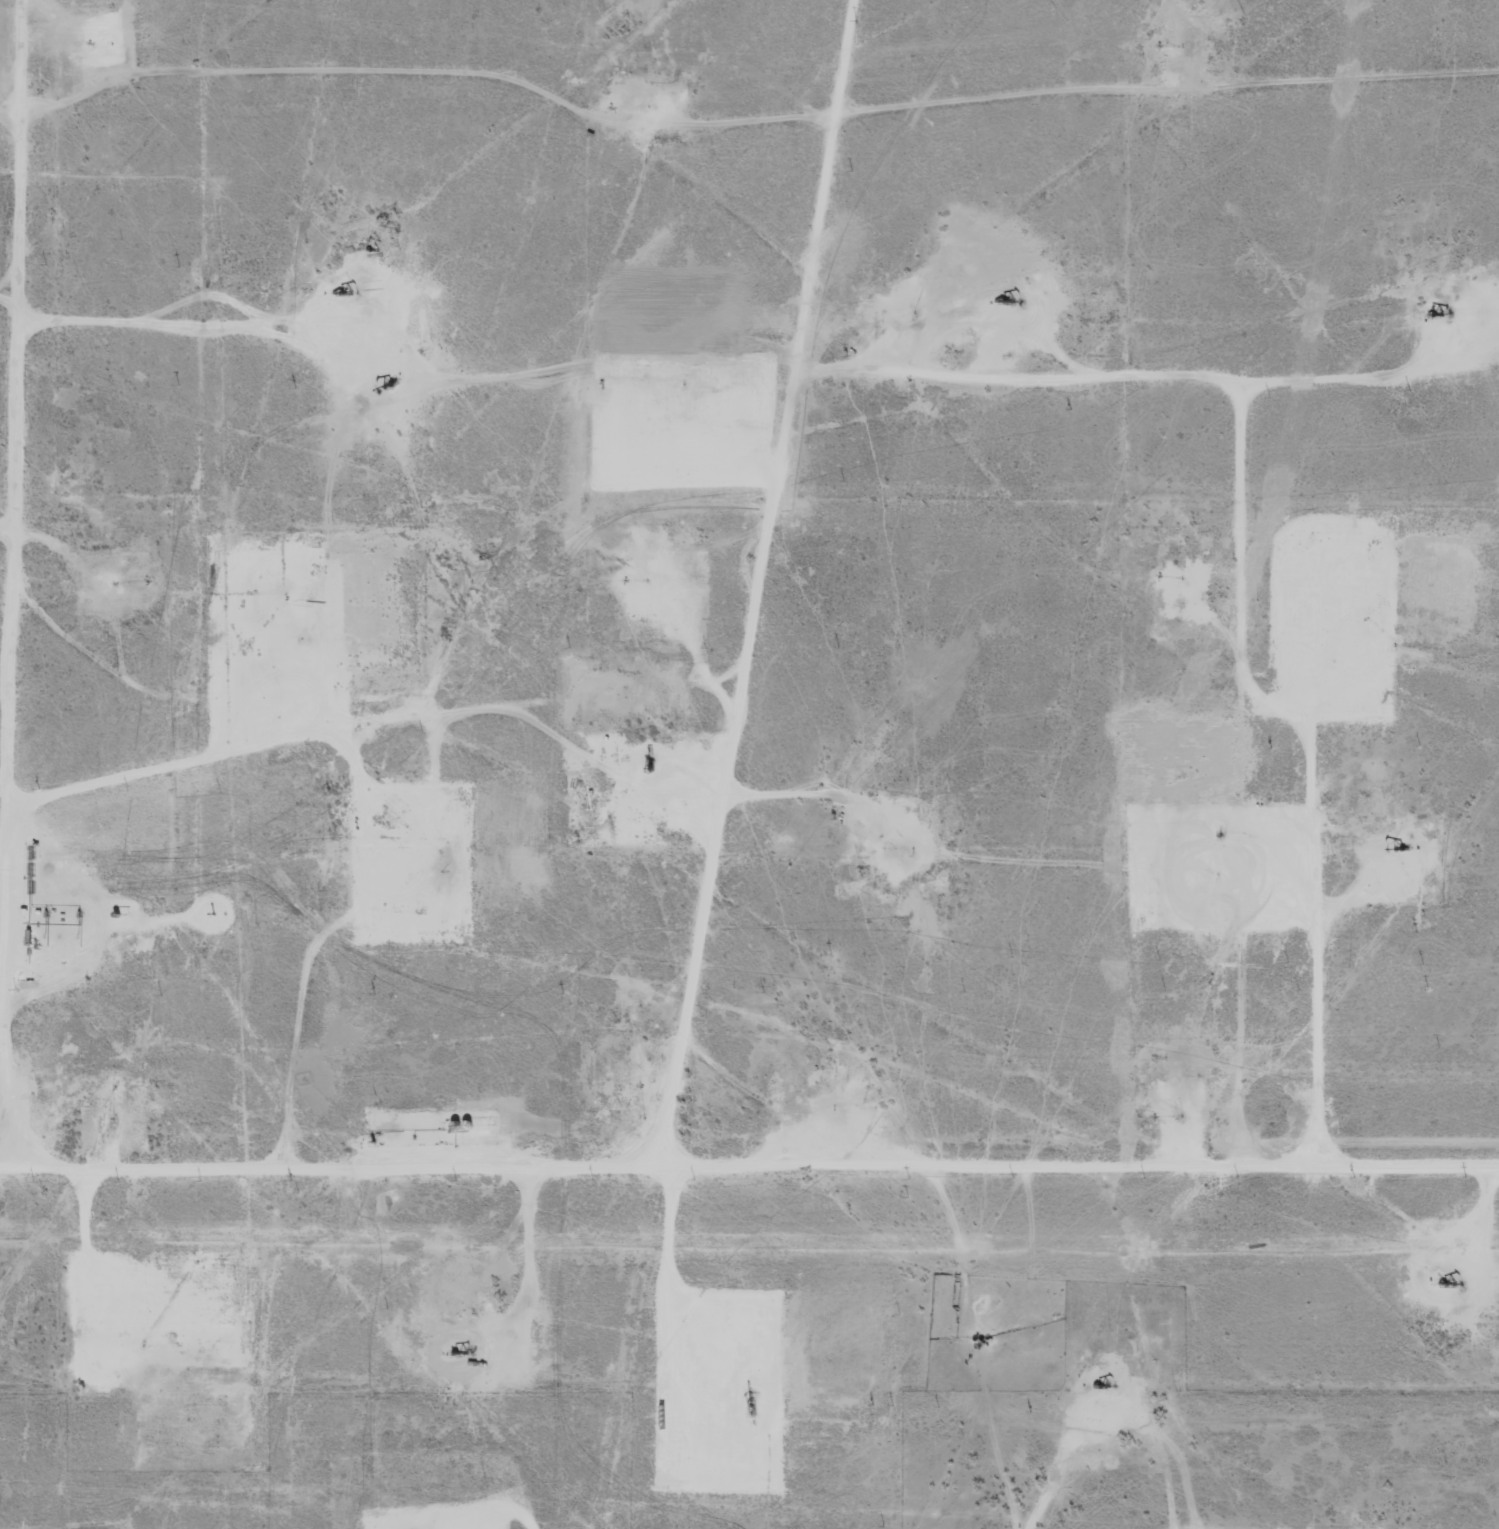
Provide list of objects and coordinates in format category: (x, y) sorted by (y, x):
road: (745, 110)
road: (148, 320)
road: (11, 519)
road: (21, 569)
road: (331, 769)
road: (1242, 932)
road: (749, 1145)

